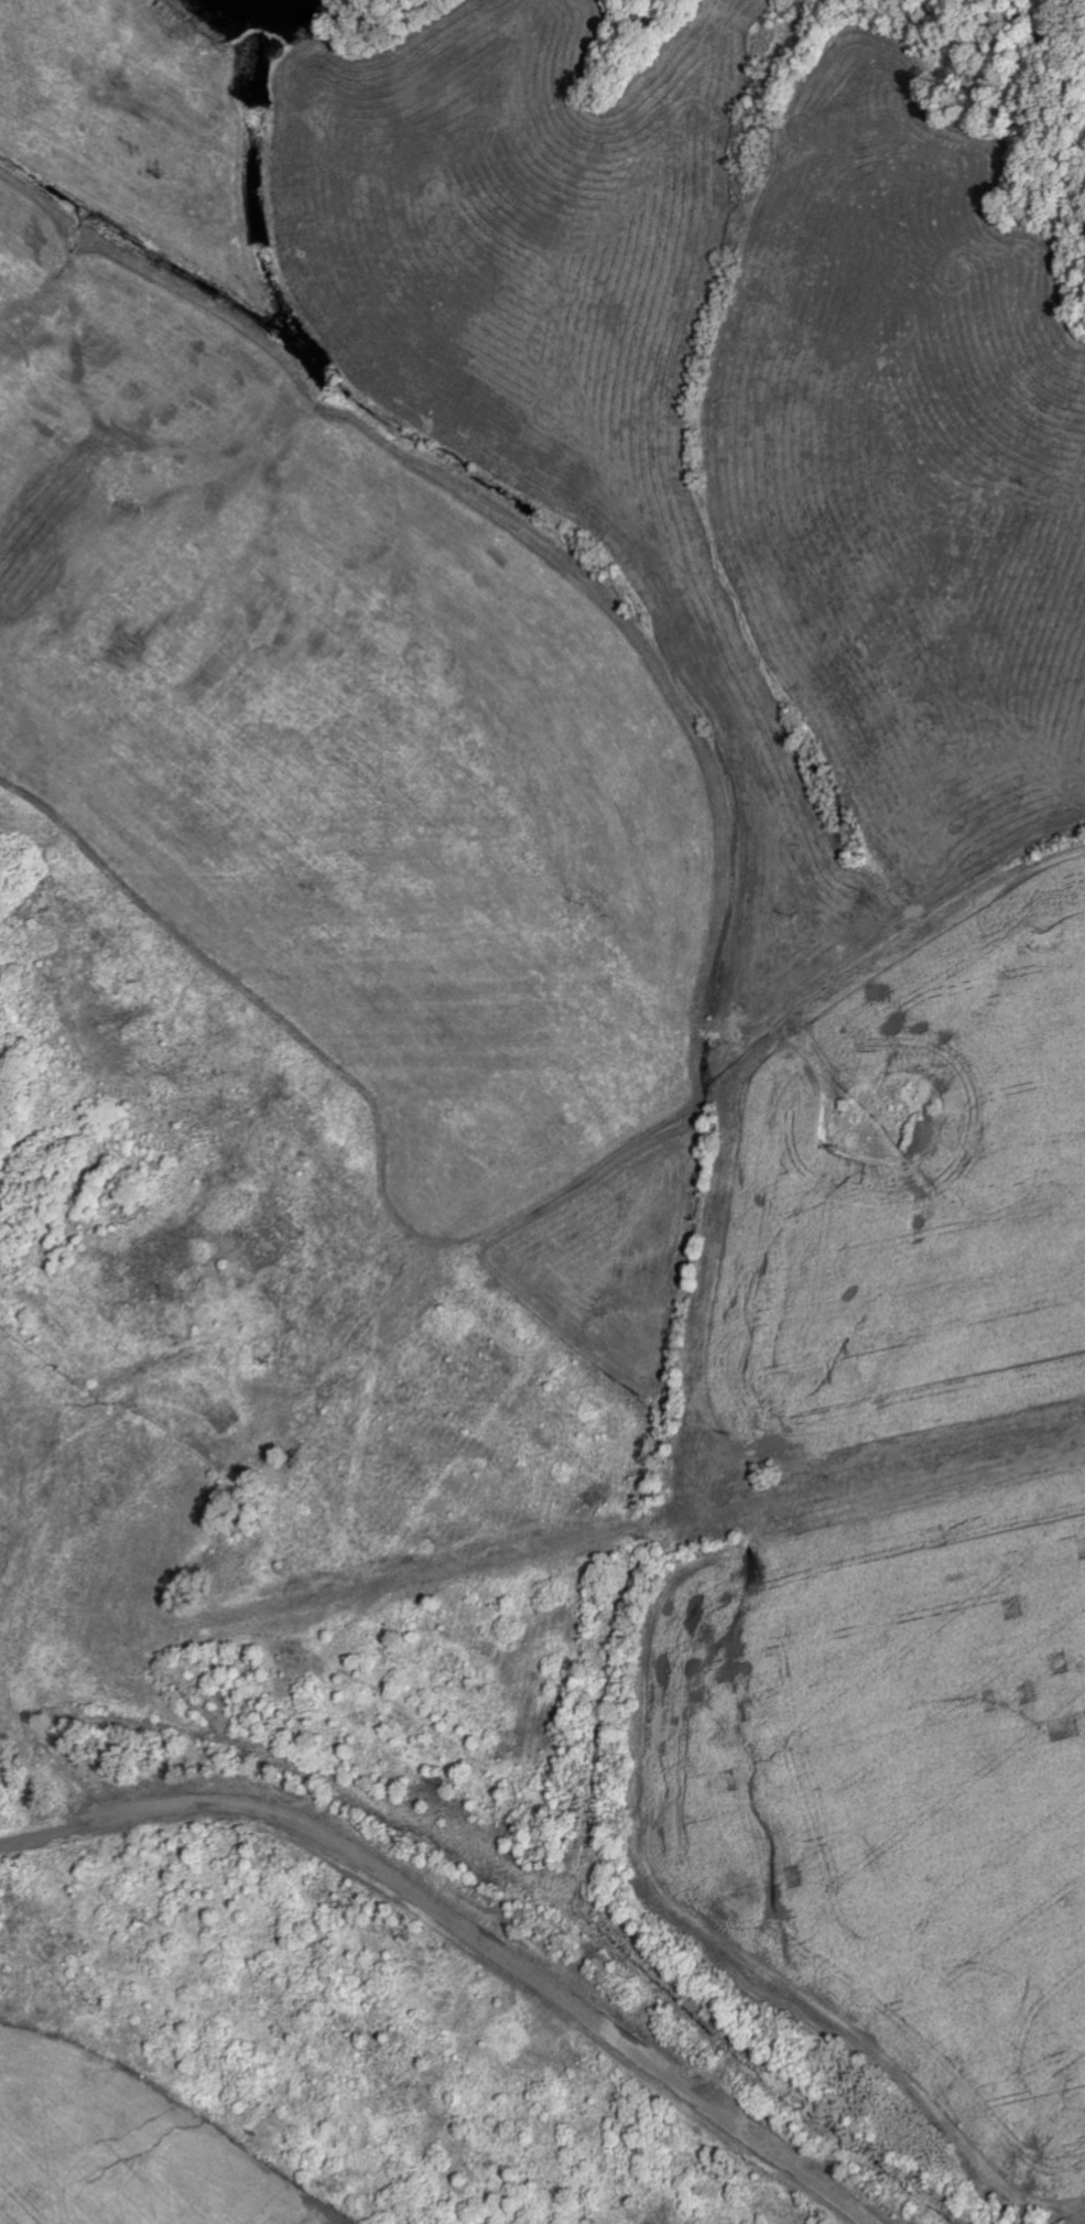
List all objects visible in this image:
road: (455, 1935)

